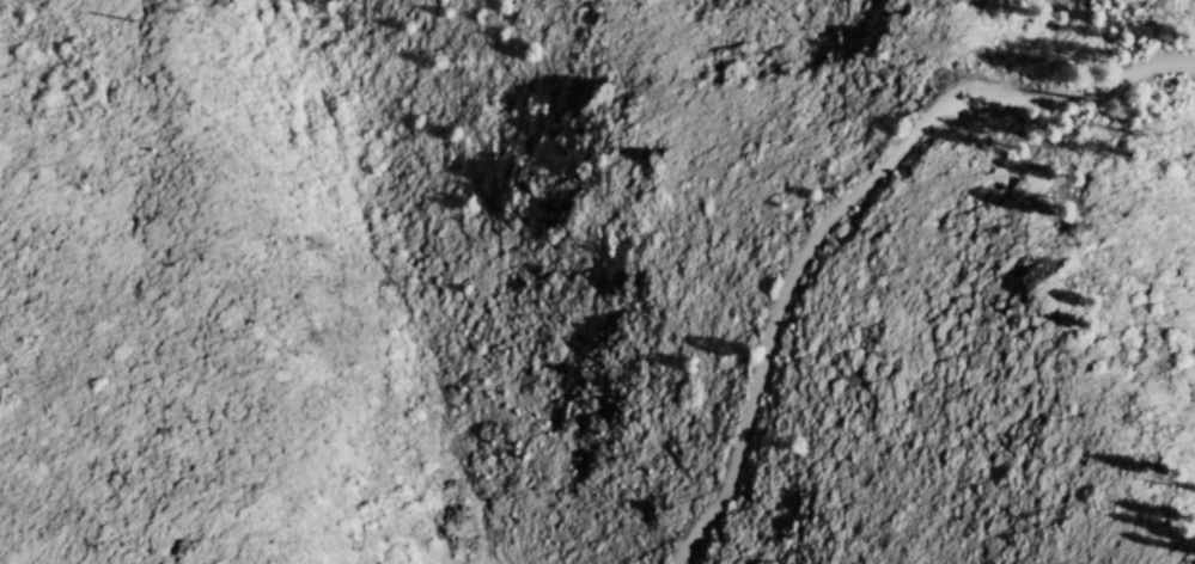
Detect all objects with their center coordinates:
road: (856, 229)

